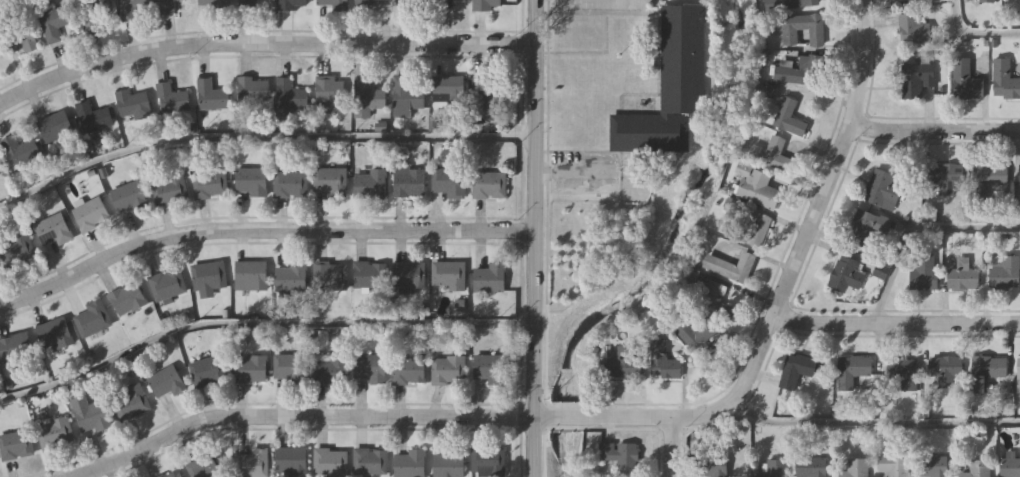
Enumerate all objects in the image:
building: (914, 0)
building: (1018, 0)
building: (985, 1)
building: (254, 2)
building: (408, 2)
building: (212, 3)
building: (801, 3)
building: (291, 4)
building: (360, 4)
building: (484, 4)
building: (332, 5)
building: (166, 6)
building: (129, 8)
building: (54, 21)
building: (803, 29)
building: (912, 31)
road: (972, 35)
building: (24, 38)
road: (261, 41)
building: (798, 72)
building: (915, 79)
building: (965, 81)
building: (1004, 81)
building: (448, 86)
building: (670, 86)
building: (252, 88)
building: (210, 94)
building: (288, 94)
building: (330, 95)
building: (489, 95)
building: (367, 96)
building: (404, 96)
building: (170, 98)
building: (131, 101)
building: (93, 116)
building: (788, 118)
building: (54, 126)
road: (933, 132)
road: (260, 137)
building: (18, 150)
building: (770, 153)
building: (0, 174)
building: (1018, 175)
building: (947, 177)
building: (984, 178)
building: (249, 180)
building: (328, 180)
building: (408, 181)
building: (447, 181)
building: (208, 183)
building: (289, 183)
building: (369, 183)
building: (488, 184)
building: (756, 187)
building: (168, 188)
building: (881, 190)
building: (128, 196)
building: (90, 213)
building: (52, 229)
road: (915, 229)
road: (261, 230)
building: (747, 230)
building: (867, 230)
road: (535, 238)
building: (15, 248)
building: (731, 266)
building: (880, 271)
building: (925, 272)
building: (1003, 272)
building: (408, 273)
building: (369, 274)
building: (447, 274)
building: (249, 275)
building: (329, 275)
building: (846, 275)
building: (290, 276)
building: (207, 277)
building: (489, 278)
building: (962, 279)
building: (166, 283)
building: (126, 298)
building: (714, 302)
building: (91, 318)
road: (260, 323)
road: (896, 323)
building: (54, 333)
building: (698, 336)
building: (14, 346)
building: (626, 362)
building: (662, 362)
building: (289, 367)
building: (488, 367)
building: (249, 368)
building: (369, 368)
building: (330, 369)
building: (450, 369)
building: (945, 369)
building: (206, 370)
building: (407, 370)
building: (795, 370)
building: (852, 370)
building: (985, 371)
building: (903, 373)
building: (1018, 375)
building: (164, 382)
building: (130, 401)
building: (89, 414)
road: (608, 416)
road: (870, 422)
building: (55, 433)
building: (15, 444)
road: (670, 445)
building: (621, 456)
building: (290, 461)
building: (369, 461)
building: (252, 462)
building: (329, 462)
building: (448, 462)
building: (487, 462)
building: (409, 463)
building: (205, 465)
building: (710, 465)
building: (893, 465)
building: (811, 467)
building: (931, 467)
building: (773, 468)
building: (854, 468)
building: (973, 468)
building: (1009, 468)
building: (169, 474)

